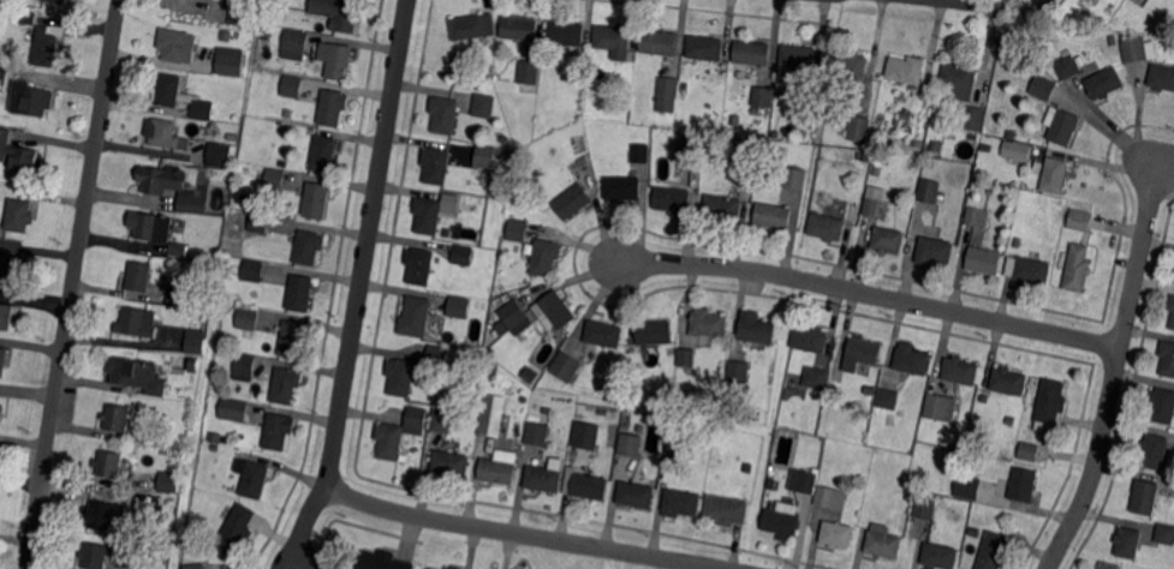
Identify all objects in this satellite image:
building: (59, 1)
building: (1140, 2)
road: (969, 4)
building: (340, 13)
building: (29, 16)
building: (240, 16)
building: (473, 25)
building: (520, 28)
building: (566, 32)
building: (268, 34)
building: (226, 36)
building: (1110, 40)
building: (614, 41)
building: (658, 43)
building: (179, 46)
building: (294, 46)
building: (46, 47)
building: (705, 47)
building: (1137, 49)
building: (752, 53)
building: (799, 58)
building: (336, 60)
building: (230, 62)
building: (852, 64)
building: (1067, 65)
building: (906, 70)
building: (530, 72)
building: (741, 72)
building: (5, 78)
building: (960, 78)
building: (1161, 79)
building: (1106, 83)
building: (685, 84)
building: (293, 86)
building: (1044, 86)
building: (668, 92)
building: (779, 92)
building: (181, 96)
building: (763, 96)
building: (808, 97)
building: (31, 98)
building: (482, 104)
building: (922, 104)
building: (332, 108)
building: (445, 114)
building: (977, 119)
building: (898, 120)
building: (1062, 126)
building: (859, 127)
building: (166, 133)
building: (1012, 133)
building: (975, 136)
building: (689, 146)
building: (985, 146)
building: (1017, 150)
building: (783, 151)
building: (19, 154)
building: (222, 154)
building: (324, 154)
building: (640, 154)
building: (749, 154)
building: (485, 156)
building: (931, 162)
building: (436, 166)
building: (1055, 175)
building: (275, 178)
building: (795, 178)
building: (169, 186)
building: (622, 187)
building: (989, 188)
building: (926, 191)
building: (673, 199)
building: (317, 200)
building: (573, 200)
building: (449, 202)
building: (857, 205)
building: (877, 208)
building: (723, 209)
building: (19, 215)
building: (428, 215)
building: (774, 216)
building: (978, 216)
building: (1081, 217)
building: (260, 223)
building: (151, 226)
building: (827, 227)
building: (518, 230)
building: (446, 233)
building: (888, 240)
building: (1017, 241)
building: (310, 247)
building: (179, 250)
building: (935, 251)
building: (463, 254)
building: (546, 257)
building: (984, 260)
building: (419, 264)
building: (11, 266)
building: (1079, 266)
building: (1029, 269)
building: (254, 270)
building: (139, 276)
road: (73, 283)
road: (360, 287)
building: (299, 293)
building: (178, 294)
road: (871, 294)
building: (197, 303)
building: (1172, 303)
building: (459, 306)
building: (554, 310)
building: (514, 313)
building: (199, 315)
building: (6, 316)
building: (416, 317)
building: (246, 319)
building: (138, 322)
building: (709, 323)
building: (1173, 323)
building: (499, 328)
building: (757, 330)
building: (655, 333)
building: (604, 334)
building: (810, 339)
building: (196, 340)
building: (293, 340)
building: (862, 353)
building: (437, 355)
building: (686, 357)
building: (1167, 358)
building: (912, 359)
building: (4, 360)
building: (195, 364)
building: (566, 366)
building: (243, 367)
building: (739, 371)
building: (960, 371)
road: (1114, 372)
building: (138, 376)
building: (400, 376)
building: (816, 377)
building: (1008, 381)
building: (286, 384)
building: (871, 388)
building: (888, 399)
building: (495, 403)
building: (1050, 403)
building: (524, 405)
building: (1162, 405)
building: (938, 406)
building: (233, 409)
building: (1, 411)
building: (117, 418)
building: (412, 419)
building: (442, 420)
building: (1009, 421)
building: (491, 423)
building: (640, 426)
building: (278, 430)
building: (537, 433)
building: (586, 433)
building: (150, 437)
building: (216, 438)
building: (386, 441)
building: (631, 444)
building: (180, 445)
building: (216, 448)
building: (717, 451)
building: (1027, 451)
building: (1155, 451)
building: (671, 453)
building: (109, 463)
building: (451, 463)
building: (496, 471)
building: (252, 478)
building: (544, 479)
building: (169, 481)
building: (804, 481)
building: (1023, 484)
building: (585, 485)
building: (969, 486)
building: (910, 493)
building: (637, 495)
building: (832, 497)
building: (1145, 497)
building: (139, 498)
building: (681, 503)
building: (924, 508)
building: (727, 509)
building: (101, 515)
building: (782, 523)
building: (236, 531)
building: (975, 532)
road: (522, 534)
building: (836, 534)
building: (1164, 534)
building: (883, 541)
building: (1128, 541)
building: (994, 551)
building: (96, 556)
building: (940, 556)
building: (382, 561)
building: (195, 565)
building: (1109, 565)
building: (429, 568)
building: (453, 568)

